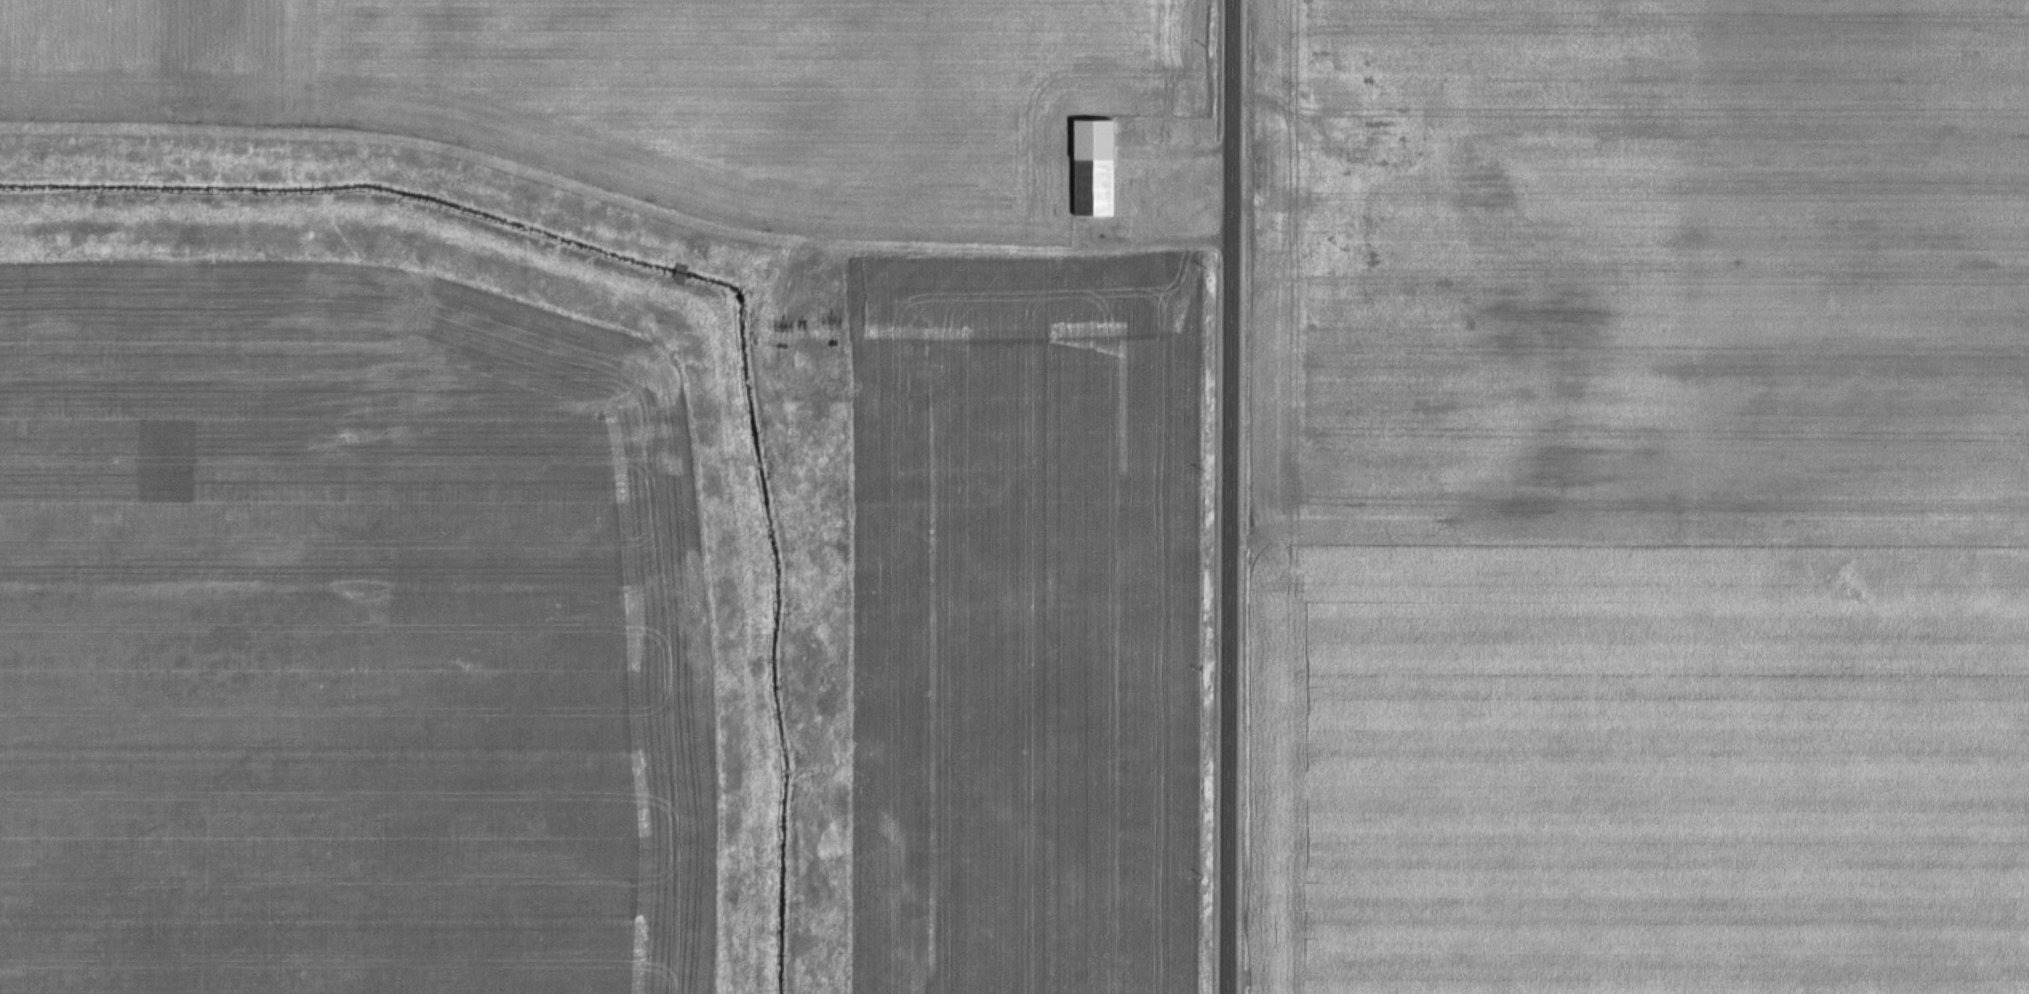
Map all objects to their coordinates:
building: (1369, 148)
building: (1100, 166)
building: (1335, 209)
building: (1295, 227)
building: (681, 273)
road: (1227, 497)

